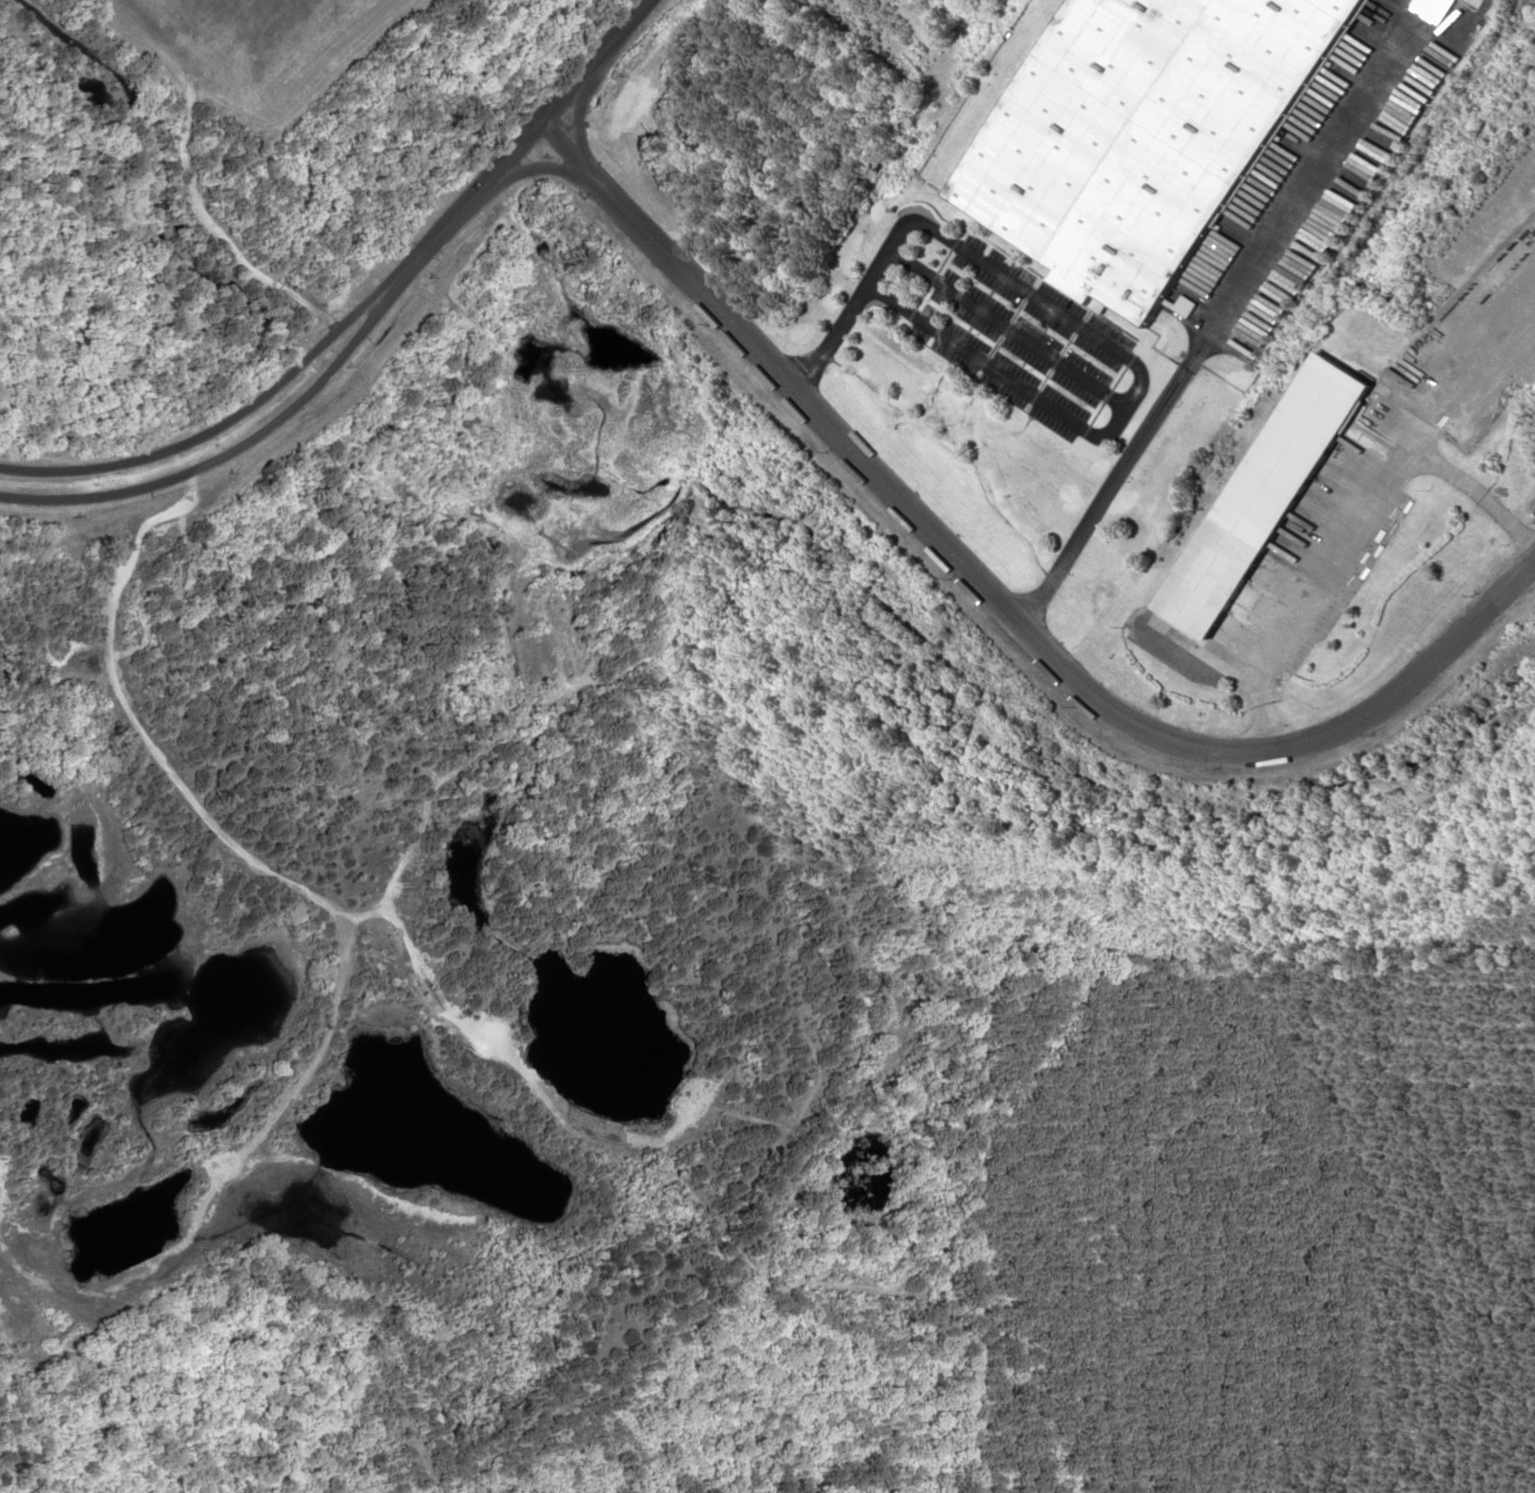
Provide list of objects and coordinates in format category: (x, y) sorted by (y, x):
building: (1147, 131)
road: (527, 134)
building: (1191, 305)
road: (226, 416)
road: (237, 443)
building: (1269, 490)
road: (996, 597)

